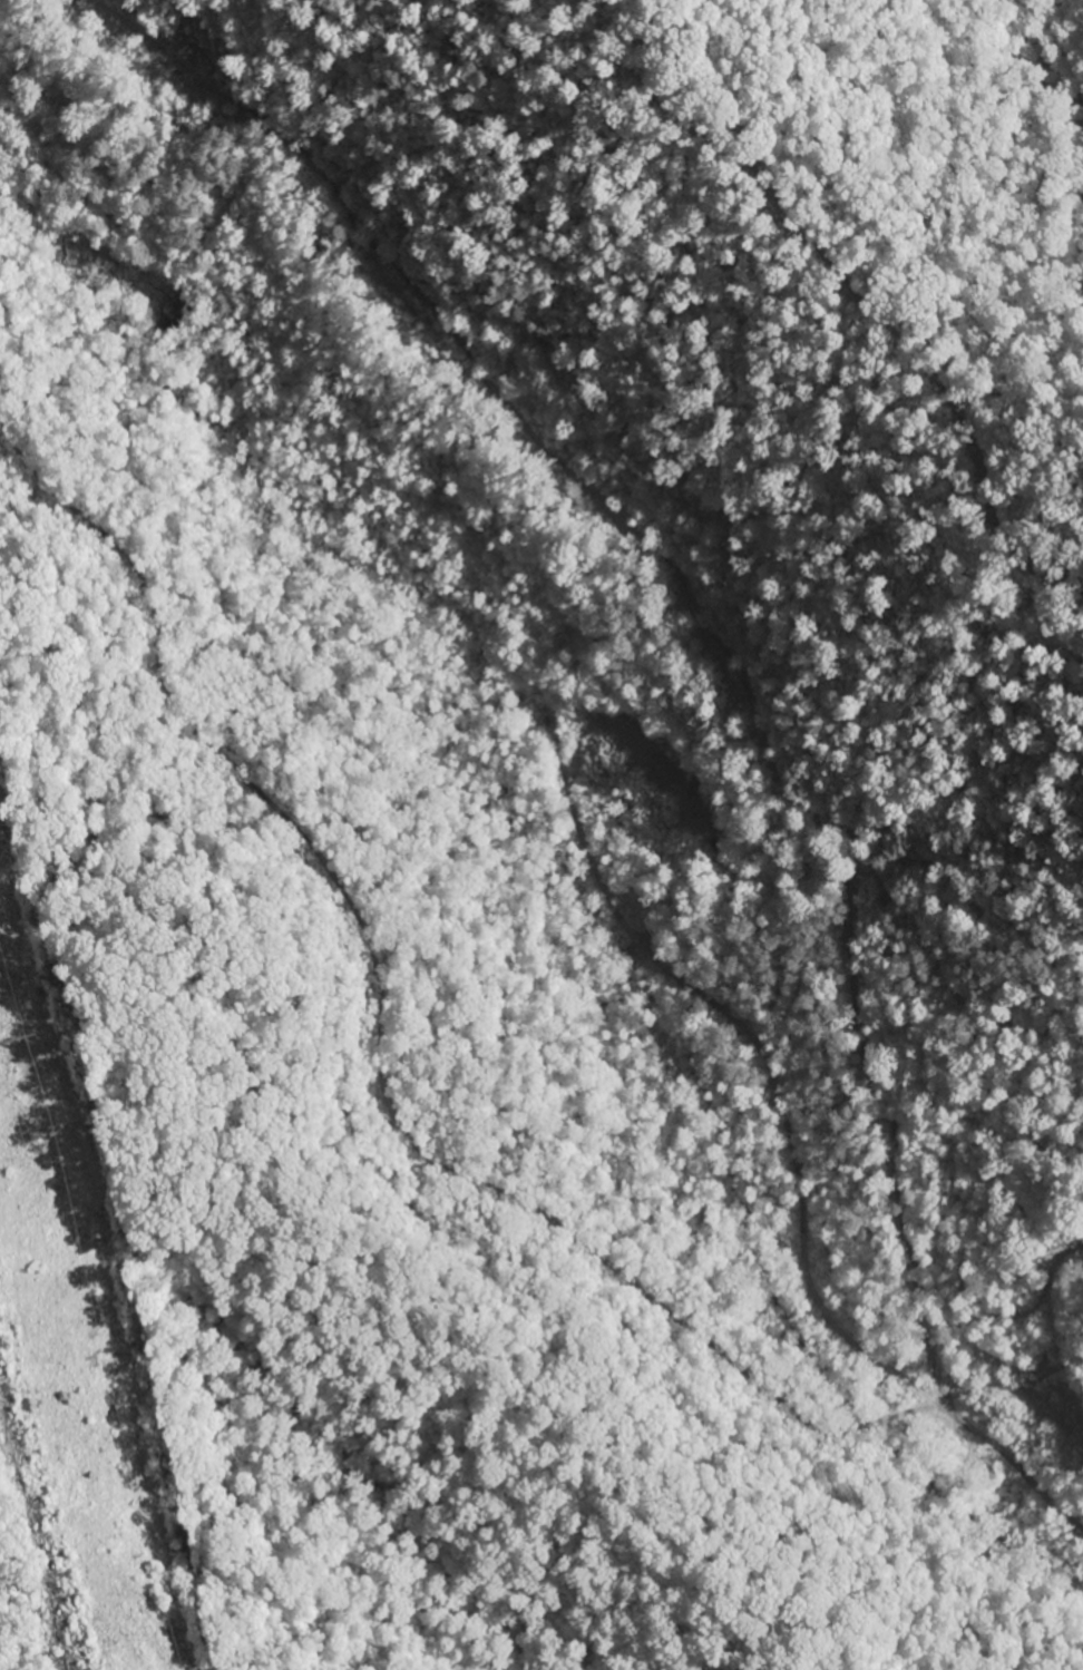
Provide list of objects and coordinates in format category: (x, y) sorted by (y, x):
road: (513, 810)
power tower: (7, 1090)

